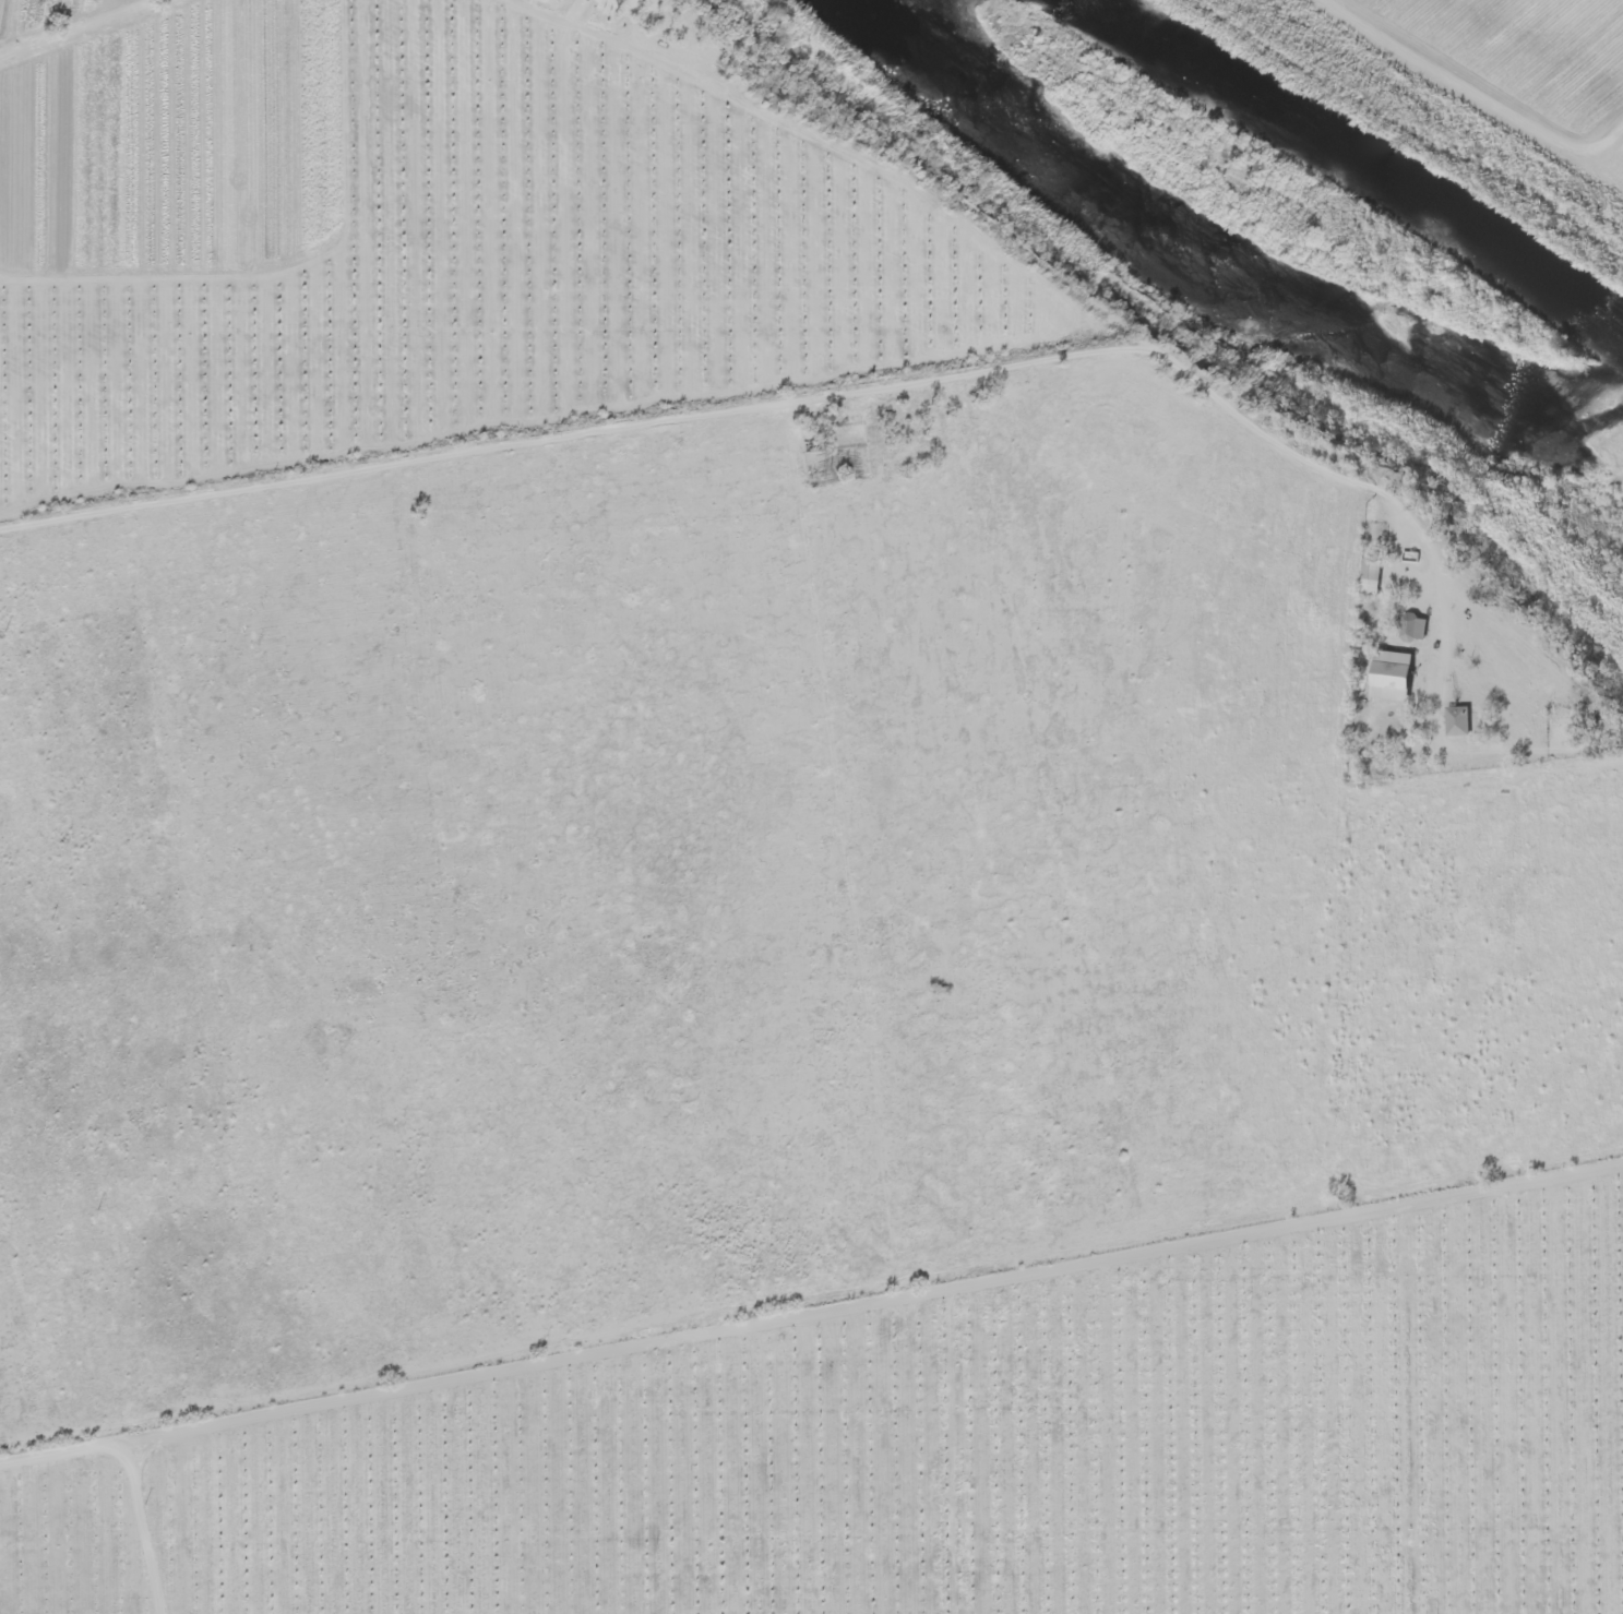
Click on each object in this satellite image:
road: (1478, 87)
river: (1357, 159)
building: (1363, 582)
building: (1406, 633)
building: (1383, 681)
building: (1449, 726)

